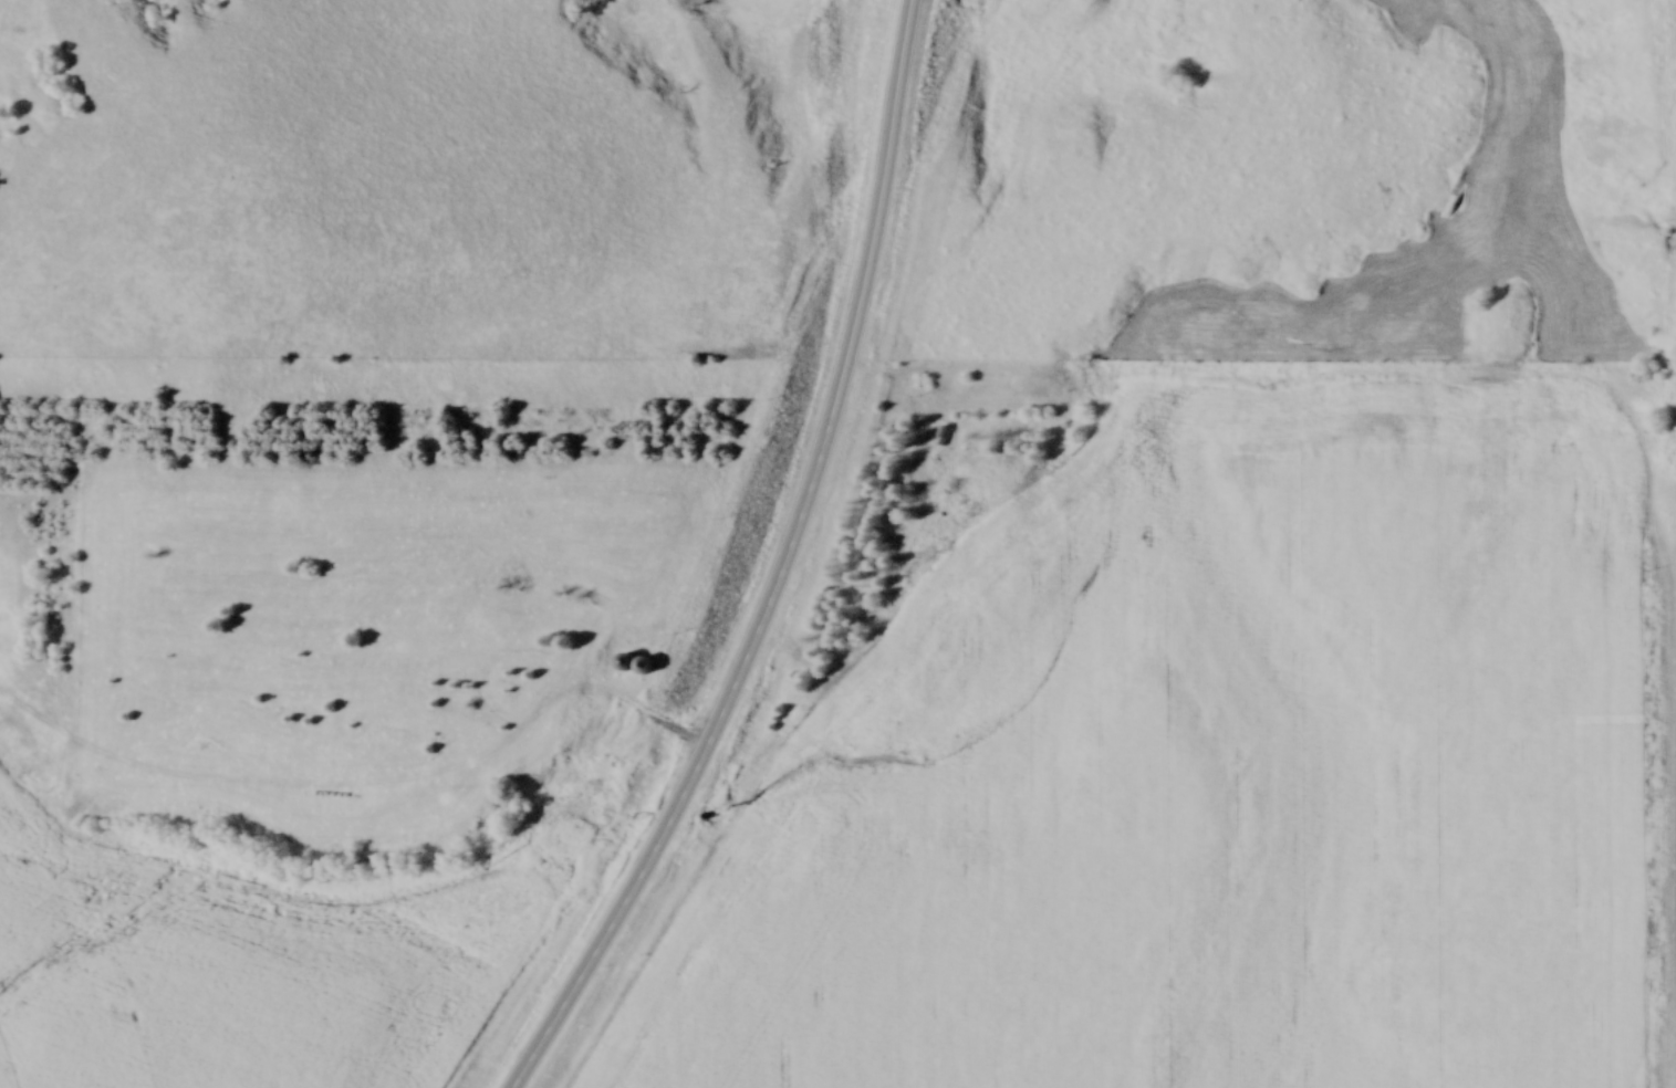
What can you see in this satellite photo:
road: (782, 568)
building: (626, 666)

